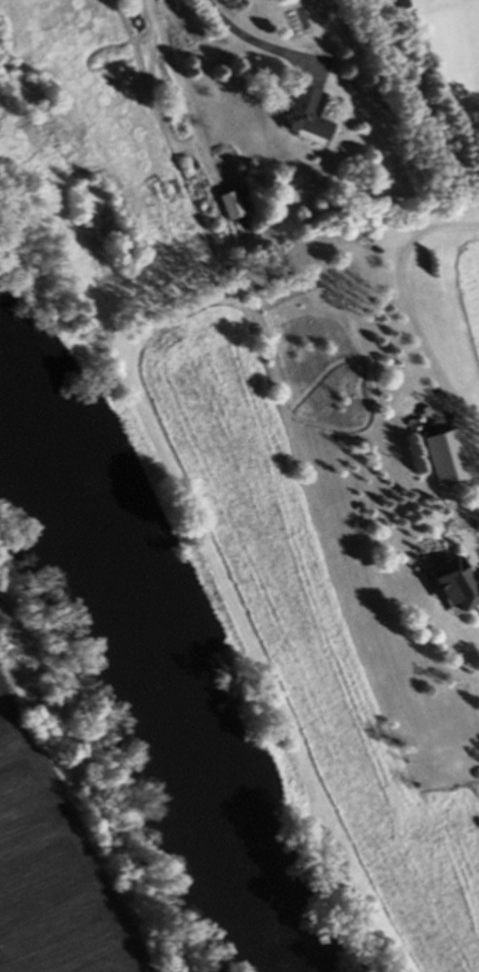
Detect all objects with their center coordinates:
building: (403, 4)
road: (253, 45)
building: (308, 116)
building: (229, 208)
road: (406, 296)
building: (446, 460)
building: (455, 589)
river: (141, 681)

